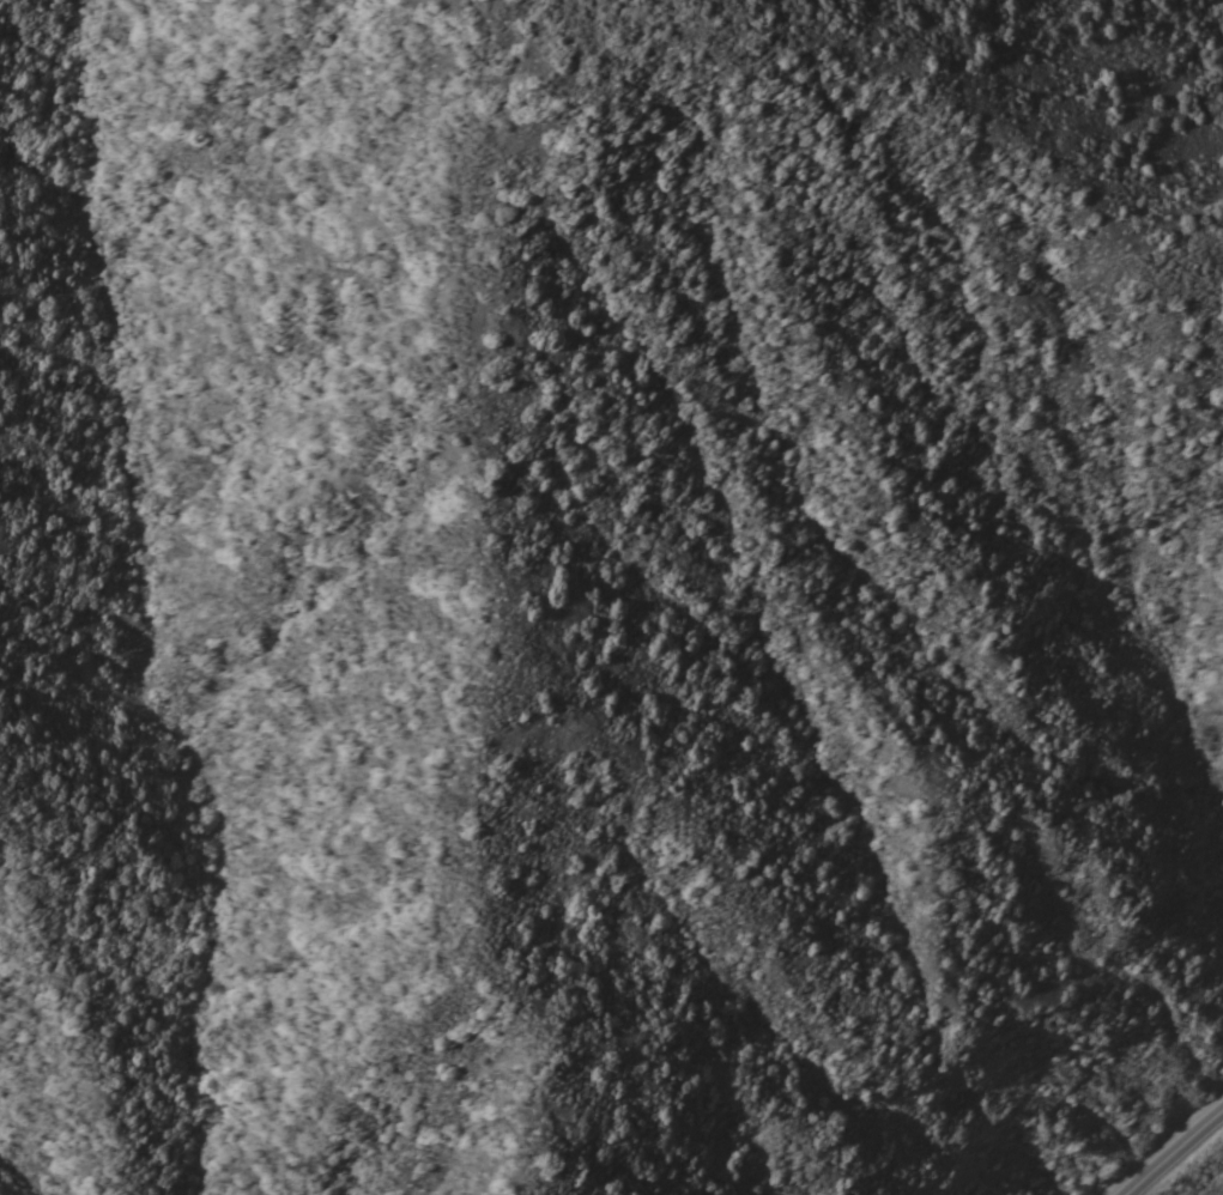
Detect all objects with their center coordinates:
road: (1175, 1152)

